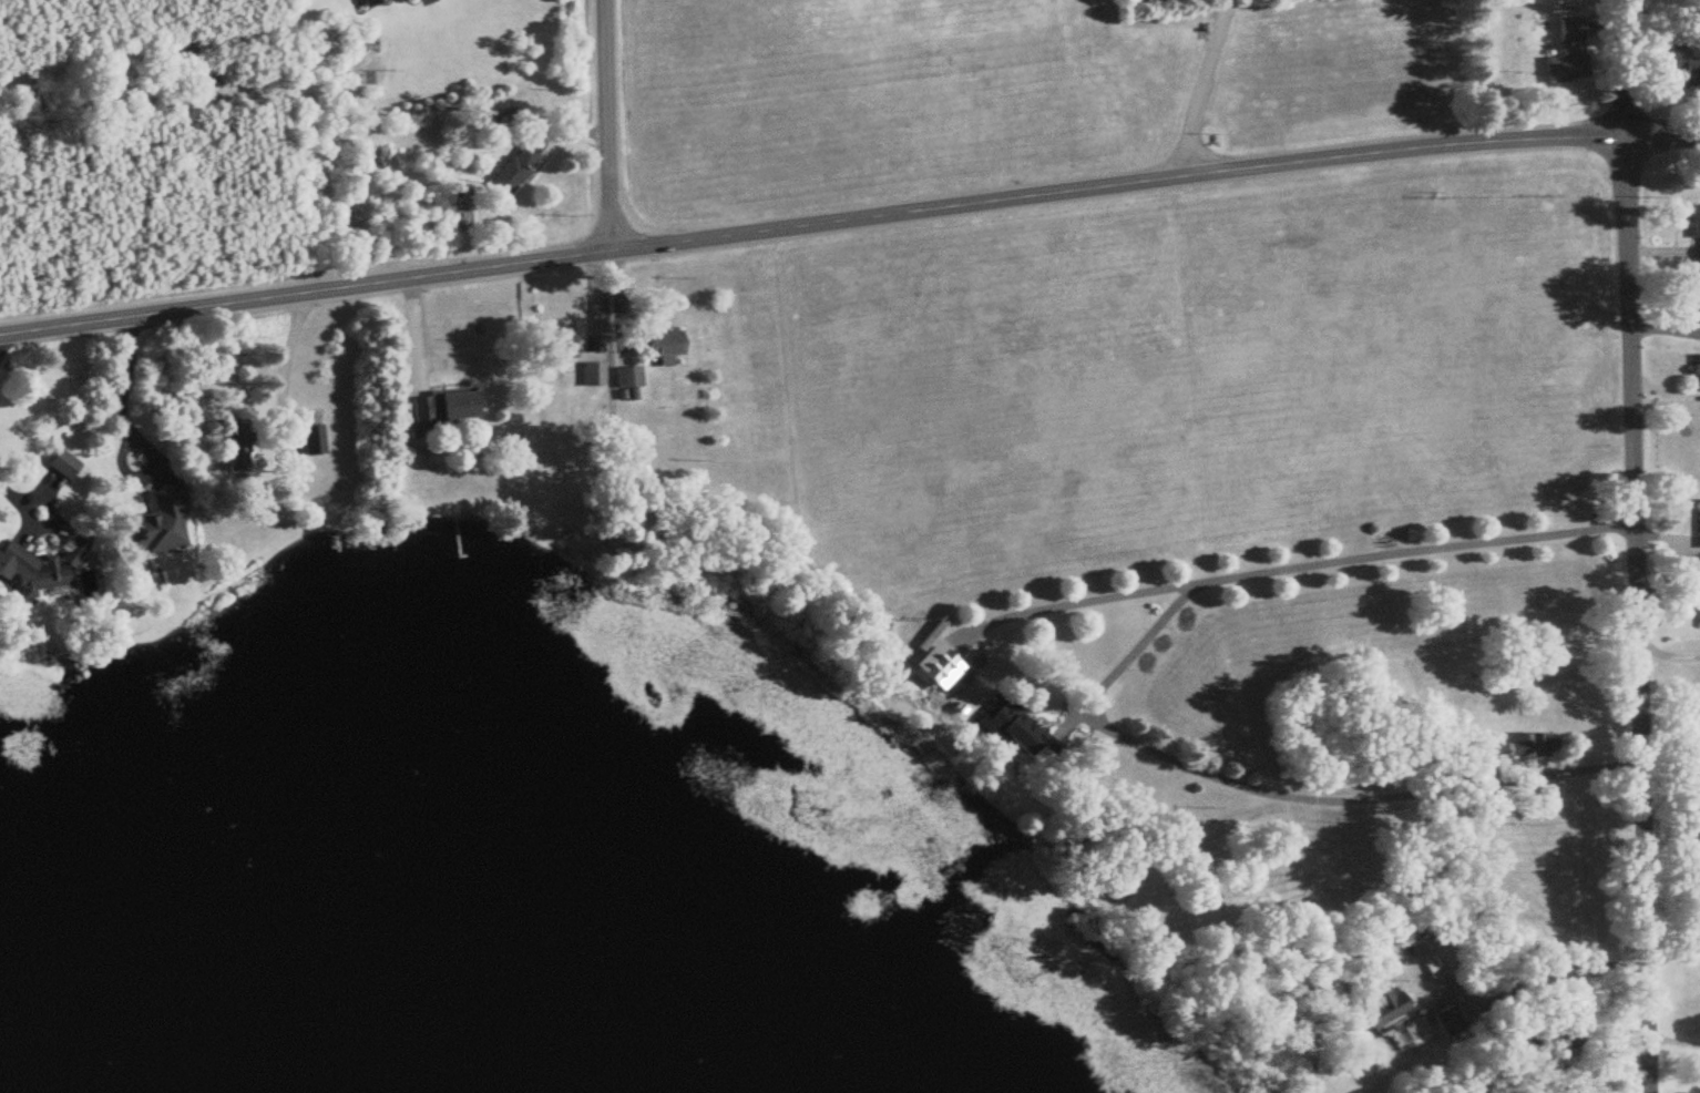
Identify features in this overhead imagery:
building: (1574, 50)
building: (1683, 67)
road: (1626, 69)
road: (1202, 90)
road: (606, 127)
road: (1665, 139)
building: (515, 172)
road: (813, 229)
building: (1694, 229)
building: (1696, 313)
road: (1, 338)
building: (667, 346)
building: (562, 347)
road: (283, 368)
building: (1697, 375)
building: (593, 377)
building: (629, 379)
road: (124, 399)
building: (446, 410)
building: (315, 442)
building: (240, 450)
building: (66, 464)
road: (13, 500)
building: (163, 522)
building: (1698, 524)
road: (1325, 568)
building: (43, 570)
road: (1636, 615)
building: (1698, 616)
road: (1130, 653)
road: (1669, 654)
building: (924, 674)
building: (1529, 745)
building: (1020, 746)
building: (1464, 757)
road: (1342, 805)
road: (1563, 968)
building: (1380, 1007)
building: (1444, 1020)

